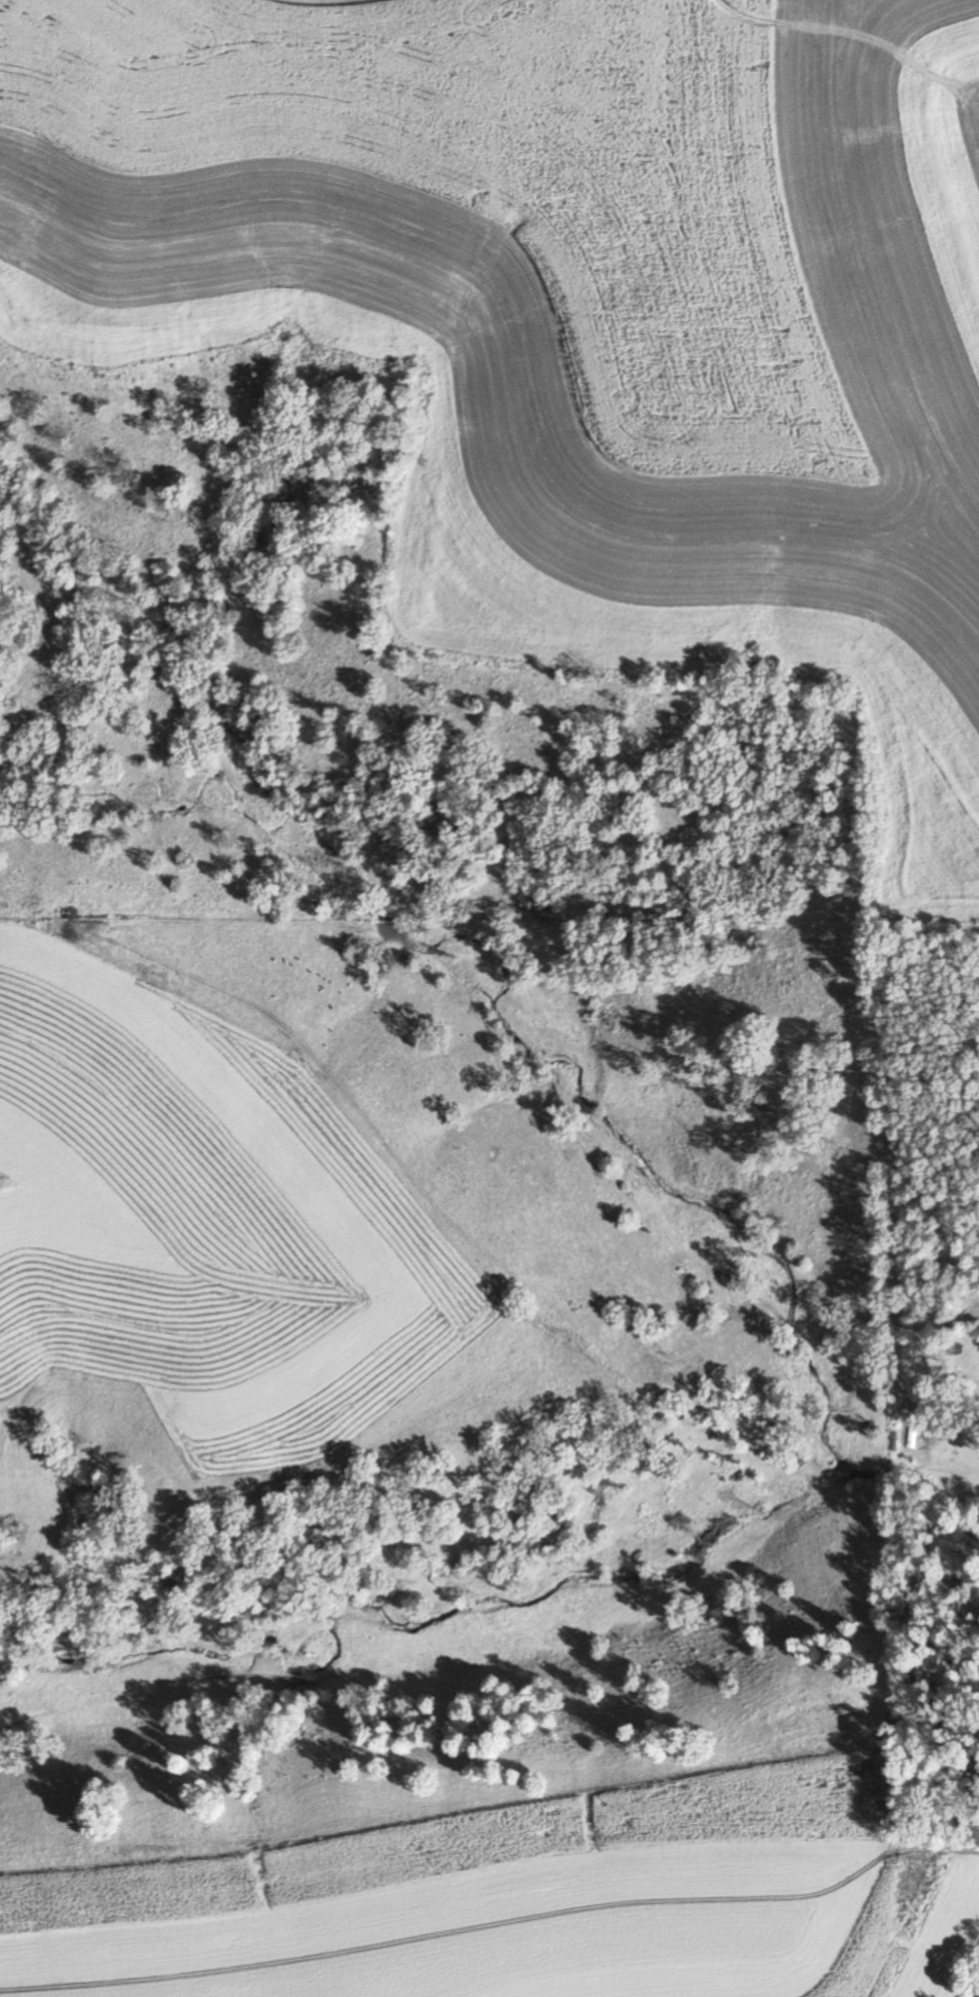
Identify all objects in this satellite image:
road: (886, 1176)

